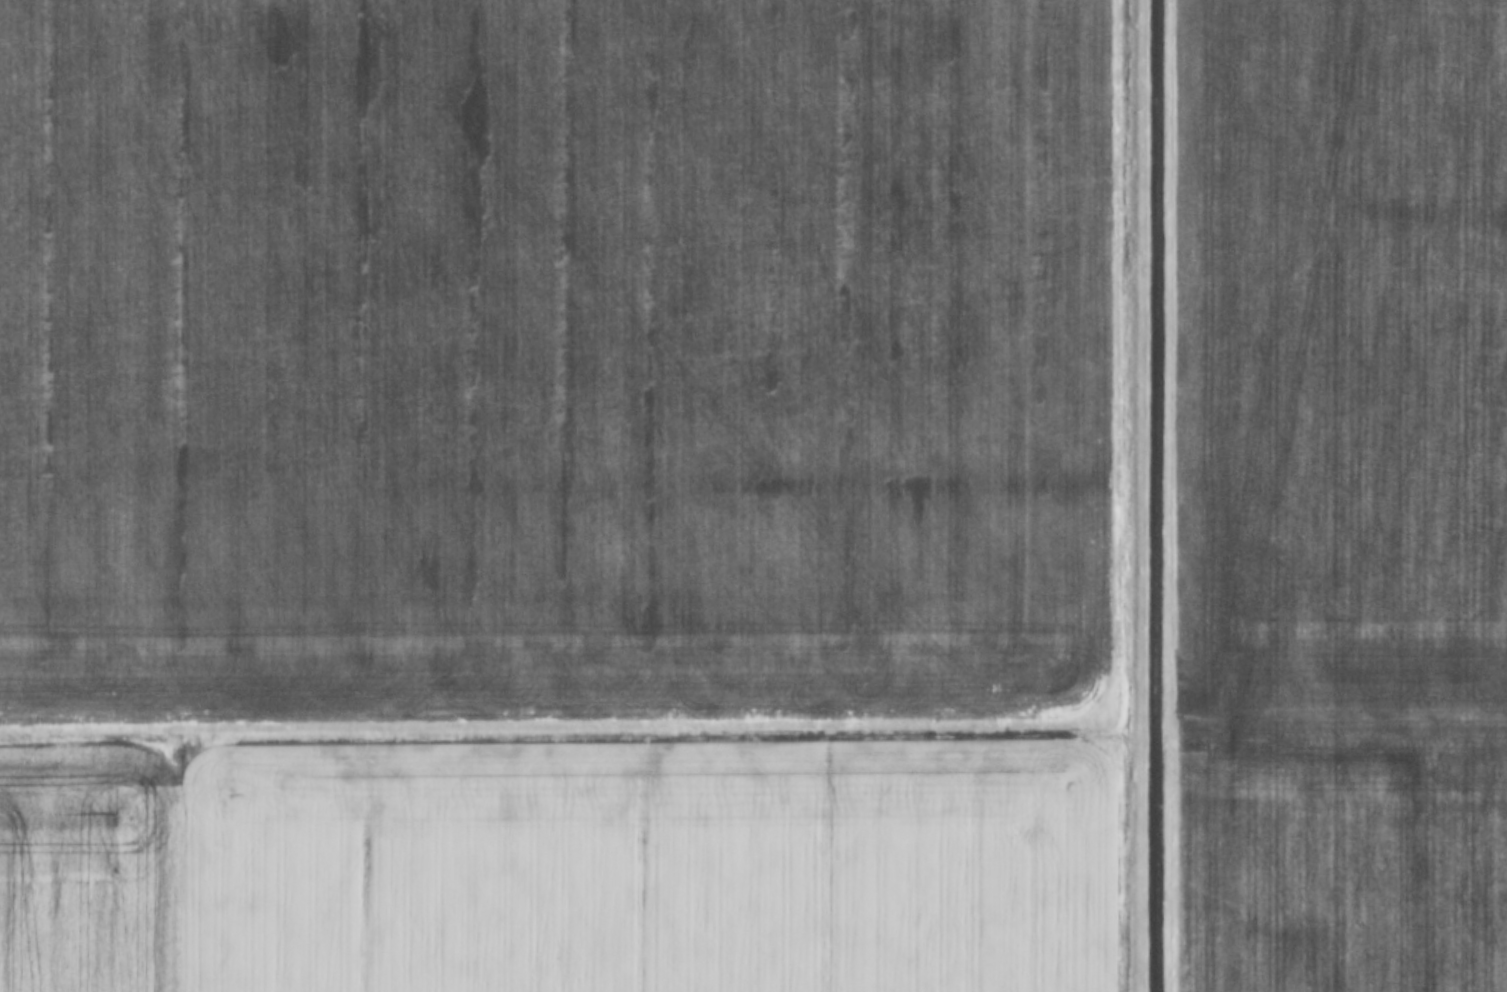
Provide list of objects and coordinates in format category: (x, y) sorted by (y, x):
road: (1159, 495)

